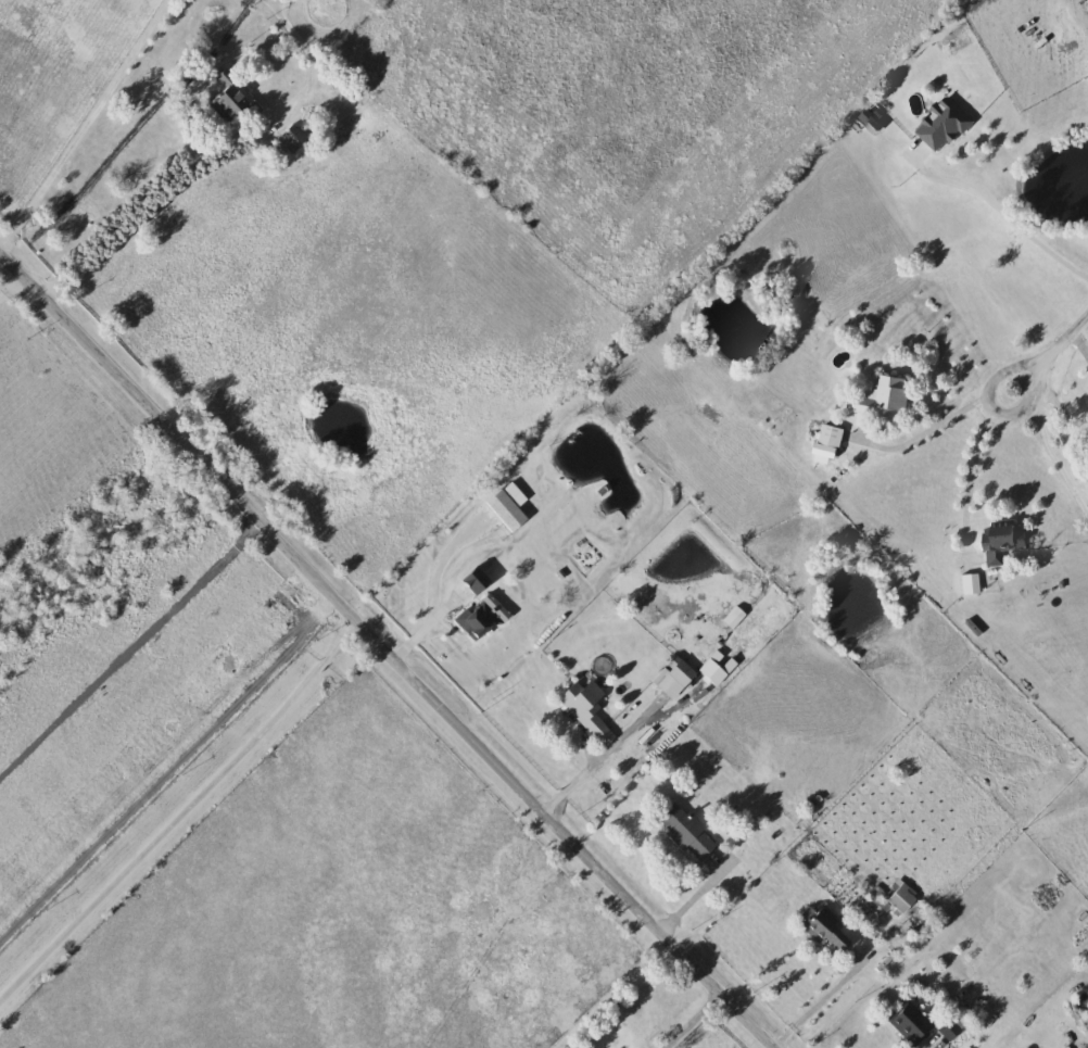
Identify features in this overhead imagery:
building: (231, 93)
road: (85, 124)
building: (938, 126)
building: (296, 137)
road: (216, 160)
road: (1000, 215)
road: (12, 285)
road: (1064, 337)
road: (1079, 343)
building: (880, 399)
road: (990, 412)
road: (1061, 412)
road: (926, 431)
building: (826, 435)
building: (1087, 484)
road: (971, 485)
building: (504, 507)
building: (998, 540)
building: (471, 616)
road: (423, 630)
road: (131, 647)
road: (389, 648)
building: (669, 677)
building: (580, 705)
road: (581, 778)
road: (184, 812)
building: (683, 831)
road: (696, 897)
building: (897, 898)
building: (821, 929)
road: (821, 1000)
road: (696, 1020)
building: (906, 1022)

